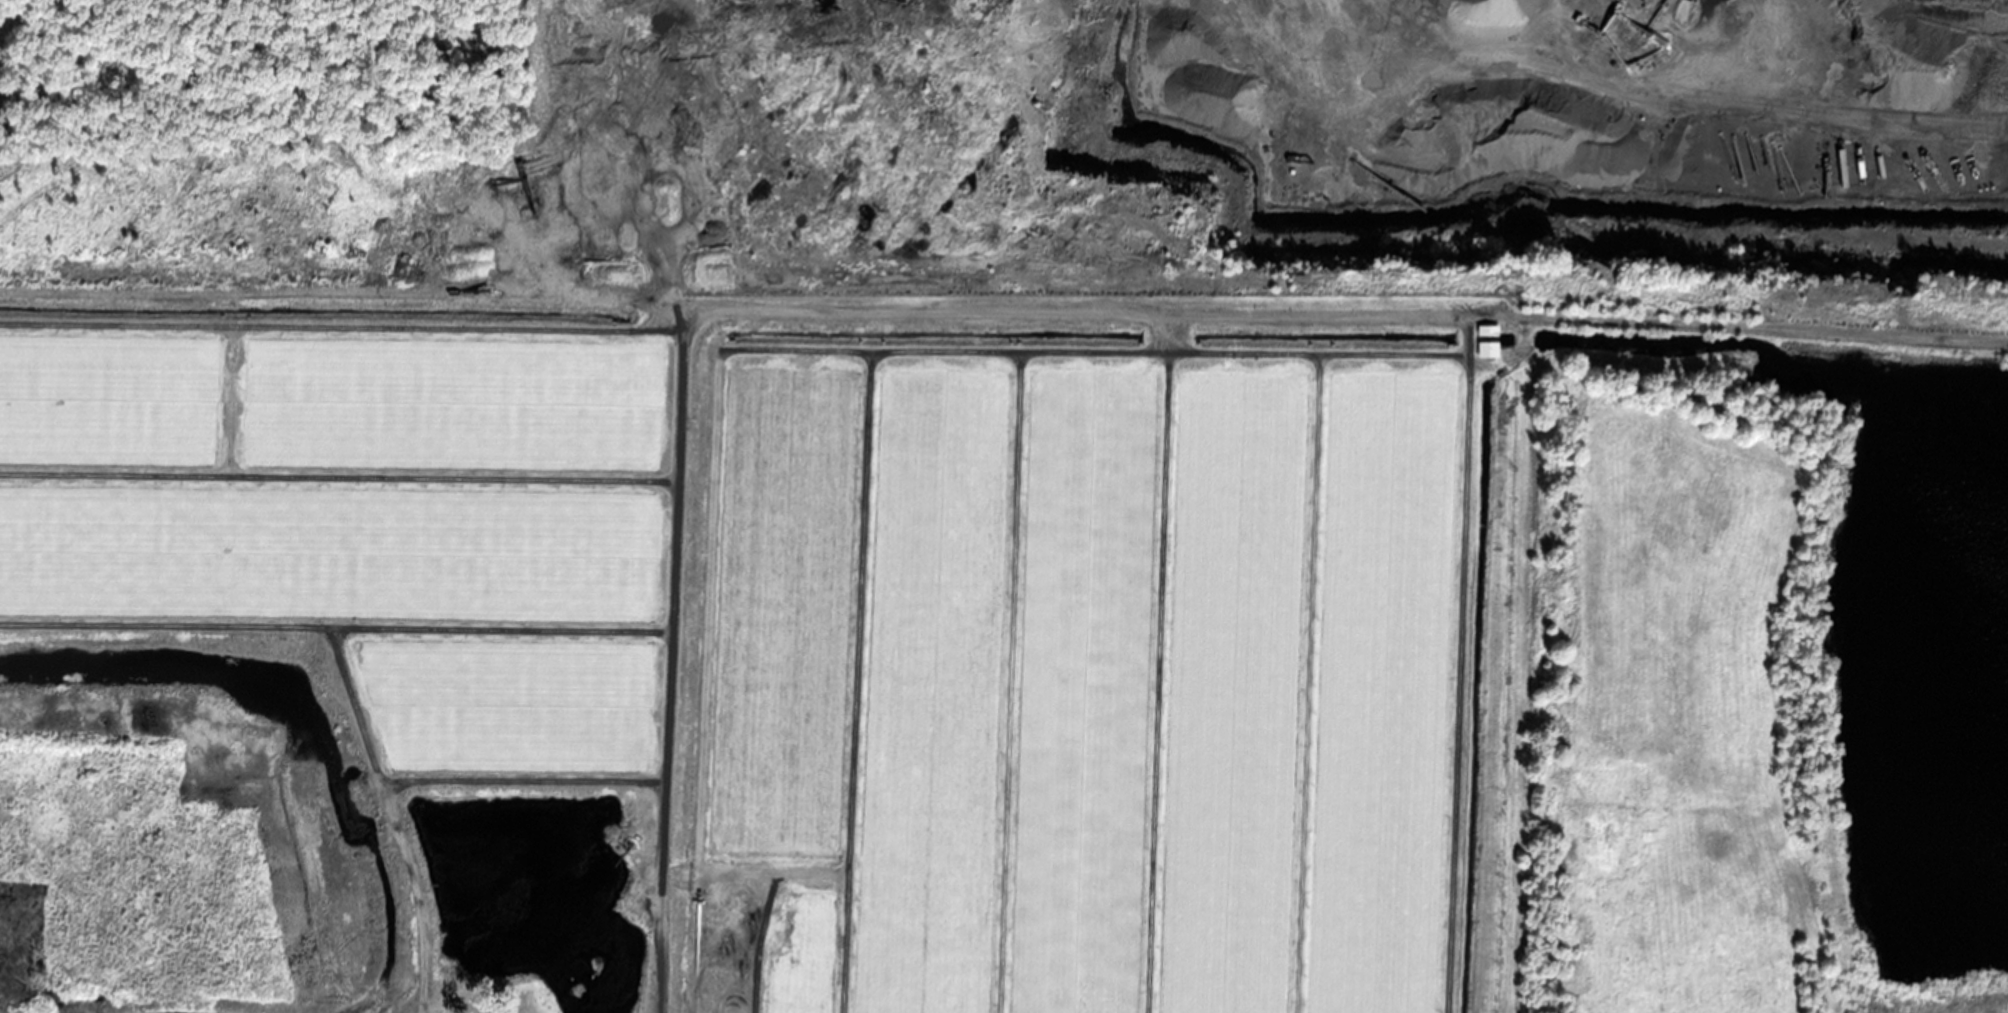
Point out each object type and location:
landfill: (1118, 244)
building: (1489, 331)
crop: (922, 693)

